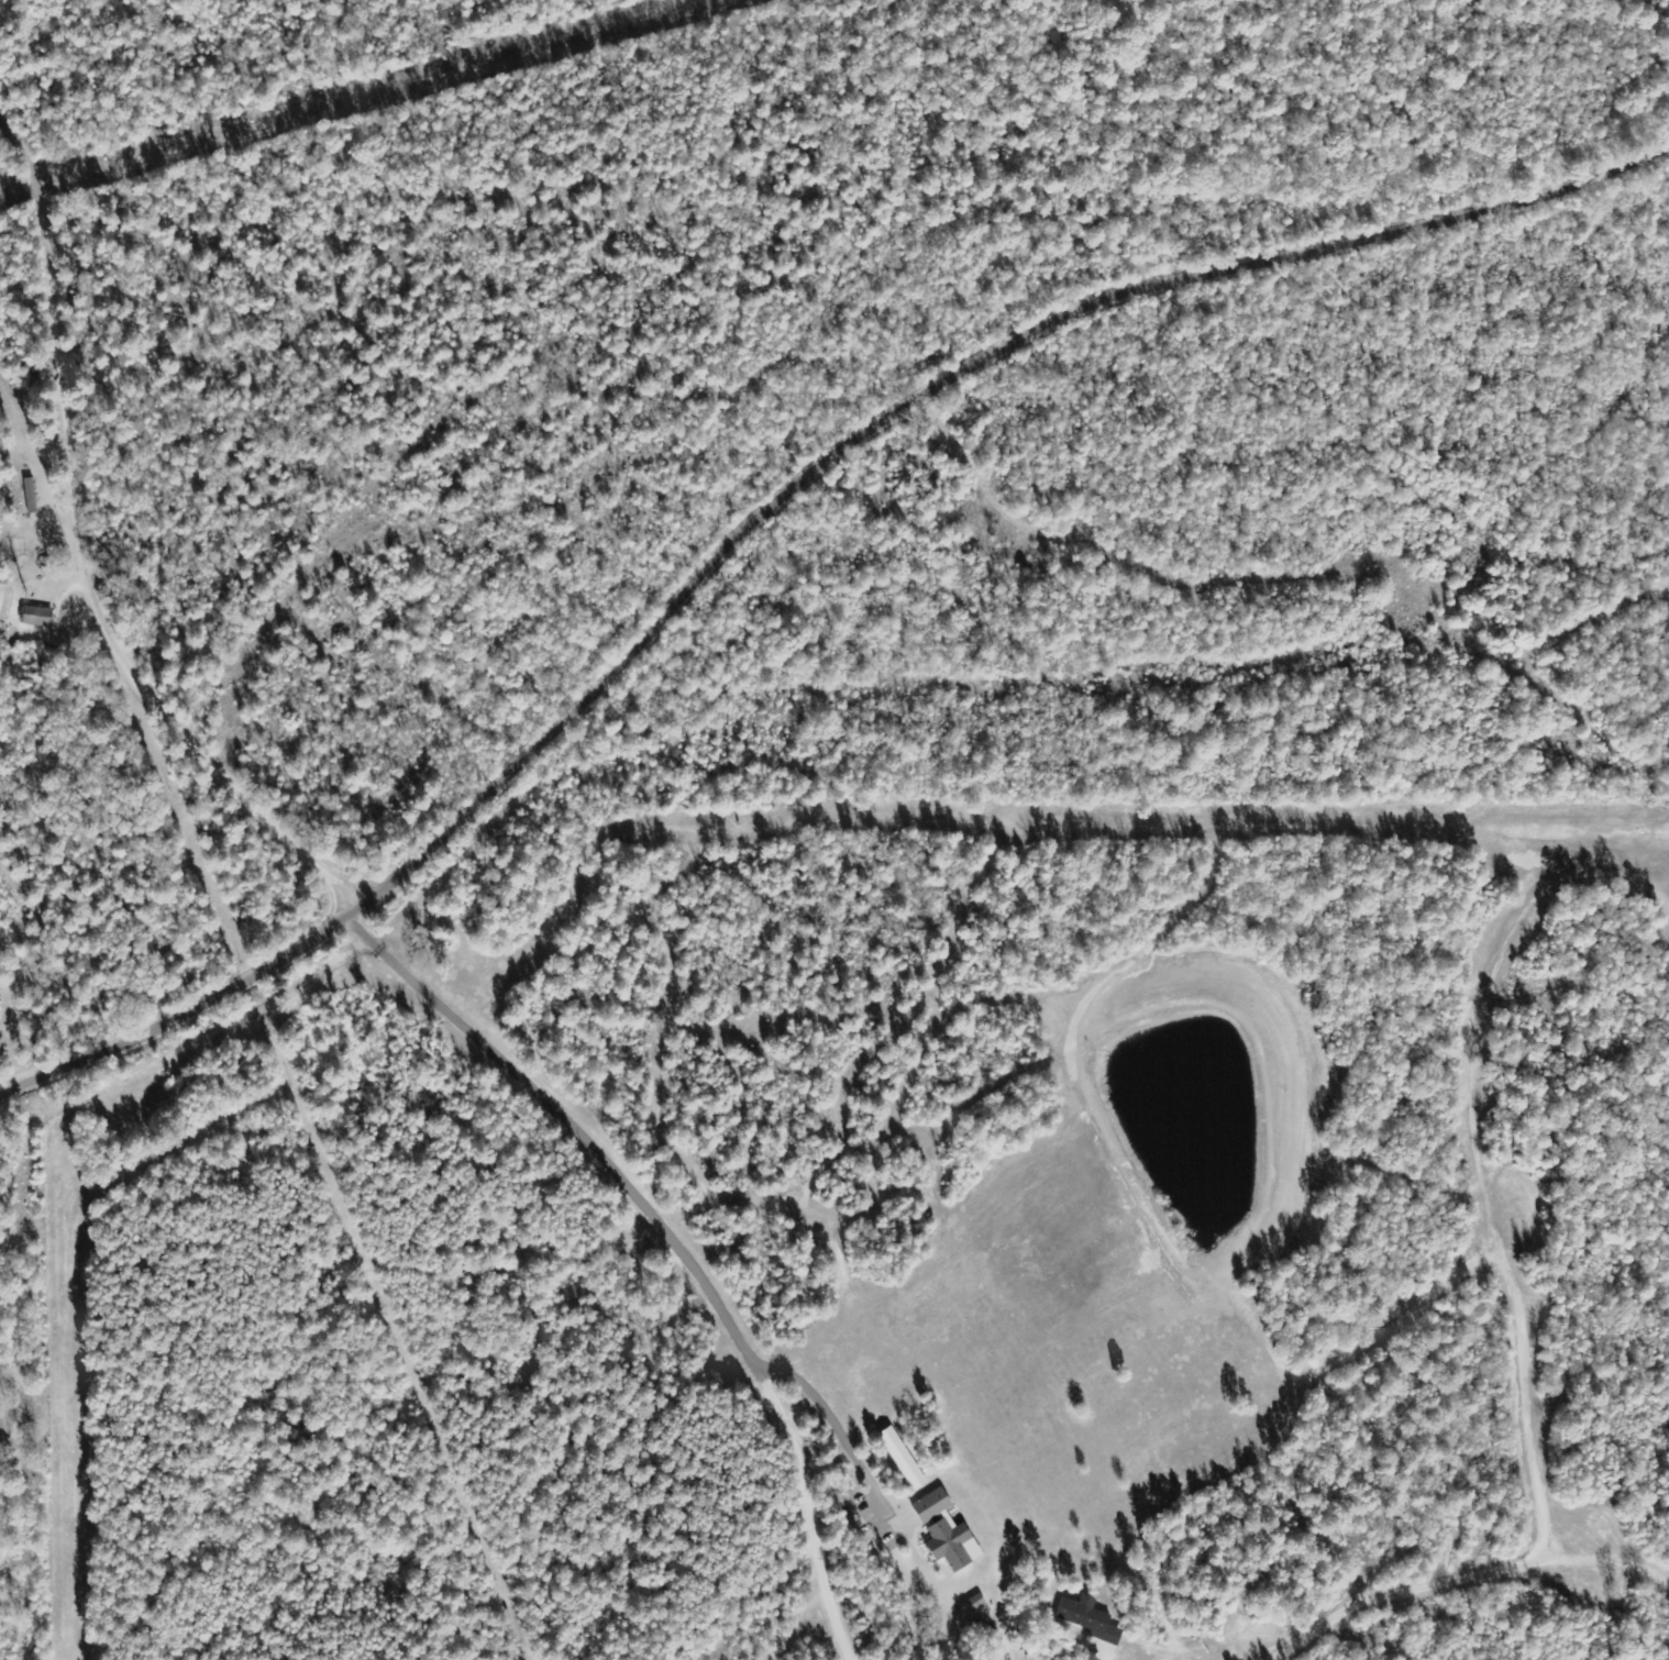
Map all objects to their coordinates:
road: (773, 514)
road: (93, 549)
building: (35, 615)
road: (642, 1200)
building: (899, 1458)
building: (942, 1531)
building: (1083, 1617)

